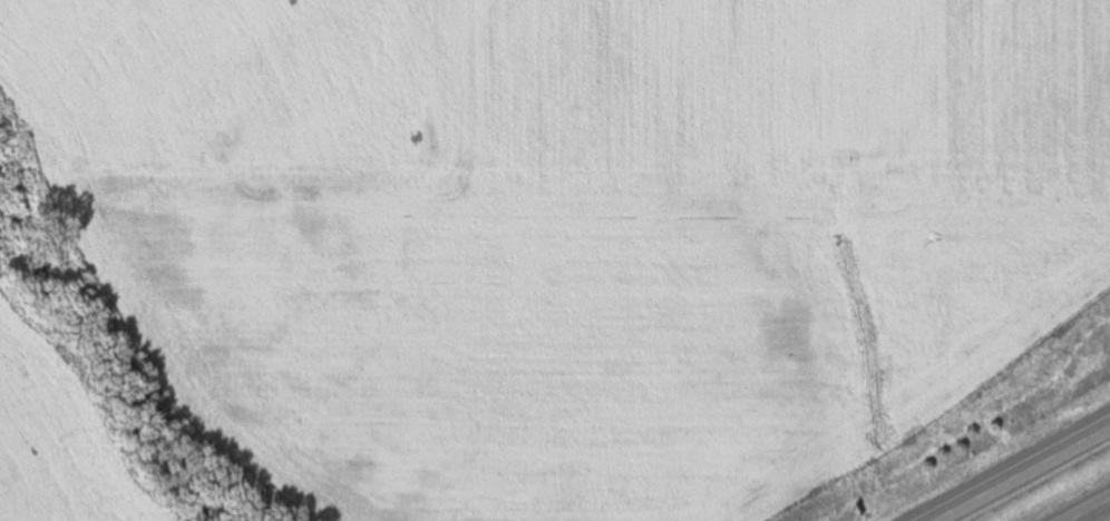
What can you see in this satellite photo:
road: (1021, 474)
road: (1092, 512)

